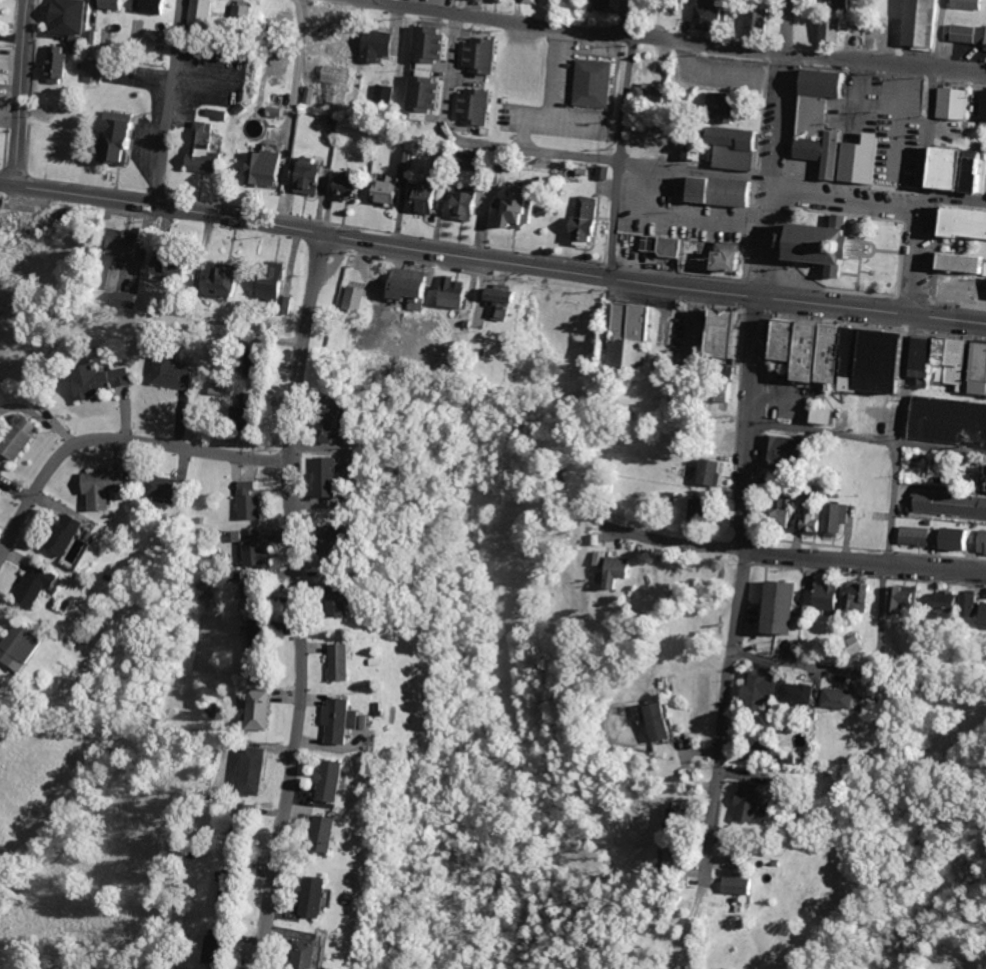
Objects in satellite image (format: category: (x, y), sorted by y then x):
building: (533, 1)
building: (108, 4)
building: (599, 4)
building: (664, 4)
building: (967, 4)
building: (144, 5)
building: (833, 5)
building: (201, 11)
building: (235, 11)
building: (703, 12)
building: (67, 17)
road: (632, 17)
building: (751, 17)
building: (915, 23)
road: (785, 26)
road: (566, 28)
building: (828, 28)
road: (937, 33)
building: (968, 34)
building: (335, 41)
building: (424, 43)
building: (372, 45)
building: (0, 48)
building: (474, 54)
building: (517, 59)
road: (858, 59)
building: (48, 64)
road: (960, 69)
building: (86, 70)
road: (448, 76)
building: (589, 77)
building: (821, 82)
building: (643, 90)
road: (17, 92)
building: (381, 93)
building: (415, 93)
road: (166, 102)
building: (953, 103)
building: (469, 105)
building: (984, 108)
road: (290, 113)
building: (714, 113)
road: (776, 114)
building: (809, 127)
road: (927, 129)
building: (109, 140)
building: (732, 146)
building: (193, 148)
building: (831, 154)
road: (617, 155)
road: (605, 157)
building: (405, 158)
building: (860, 160)
building: (306, 165)
building: (256, 166)
building: (932, 167)
building: (950, 169)
building: (974, 171)
building: (600, 172)
building: (314, 177)
building: (984, 184)
building: (301, 185)
building: (352, 185)
building: (337, 186)
building: (393, 188)
building: (373, 190)
building: (722, 192)
road: (953, 195)
building: (413, 197)
road: (844, 200)
building: (453, 202)
building: (467, 203)
building: (510, 211)
building: (582, 212)
building: (964, 223)
road: (765, 235)
building: (122, 239)
building: (825, 244)
building: (665, 245)
road: (139, 246)
flagpole: (867, 247)
road: (913, 252)
building: (727, 258)
road: (492, 259)
building: (958, 262)
building: (178, 263)
building: (214, 278)
building: (233, 280)
building: (261, 280)
building: (396, 281)
building: (280, 285)
building: (414, 286)
building: (440, 290)
building: (453, 292)
building: (985, 294)
building: (343, 296)
building: (120, 297)
building: (357, 298)
building: (494, 301)
building: (722, 332)
building: (626, 335)
building: (785, 338)
building: (806, 350)
building: (828, 352)
building: (912, 356)
building: (847, 357)
building: (924, 358)
building: (884, 359)
building: (951, 362)
building: (976, 369)
building: (163, 372)
building: (82, 377)
building: (105, 380)
building: (219, 388)
building: (719, 394)
building: (252, 402)
building: (816, 415)
building: (950, 420)
building: (314, 425)
building: (10, 434)
road: (864, 435)
building: (22, 437)
road: (897, 438)
road: (115, 440)
building: (775, 448)
building: (704, 472)
building: (313, 476)
building: (332, 476)
building: (982, 477)
building: (2, 478)
building: (90, 484)
building: (155, 486)
building: (107, 487)
building: (239, 500)
building: (252, 500)
building: (949, 503)
building: (774, 514)
building: (830, 517)
building: (808, 520)
building: (917, 533)
building: (58, 537)
building: (318, 538)
building: (950, 538)
building: (338, 541)
building: (980, 542)
building: (242, 547)
road: (732, 548)
building: (608, 568)
road: (935, 570)
building: (23, 582)
building: (37, 585)
road: (735, 588)
building: (256, 592)
building: (897, 599)
building: (322, 600)
road: (296, 601)
building: (826, 601)
building: (941, 601)
building: (346, 603)
building: (964, 604)
building: (778, 609)
building: (979, 615)
building: (256, 641)
building: (12, 645)
building: (852, 649)
building: (362, 659)
building: (323, 661)
building: (343, 662)
road: (850, 670)
building: (795, 699)
building: (756, 700)
building: (839, 702)
building: (244, 709)
building: (260, 709)
building: (367, 709)
building: (650, 713)
building: (324, 719)
building: (343, 720)
parking lot: (687, 745)
building: (252, 767)
building: (335, 779)
building: (313, 780)
building: (746, 805)
building: (672, 810)
building: (249, 816)
building: (330, 831)
building: (307, 832)
building: (665, 862)
building: (760, 864)
building: (234, 886)
building: (735, 886)
building: (298, 894)
building: (321, 895)
building: (292, 952)
building: (315, 954)

